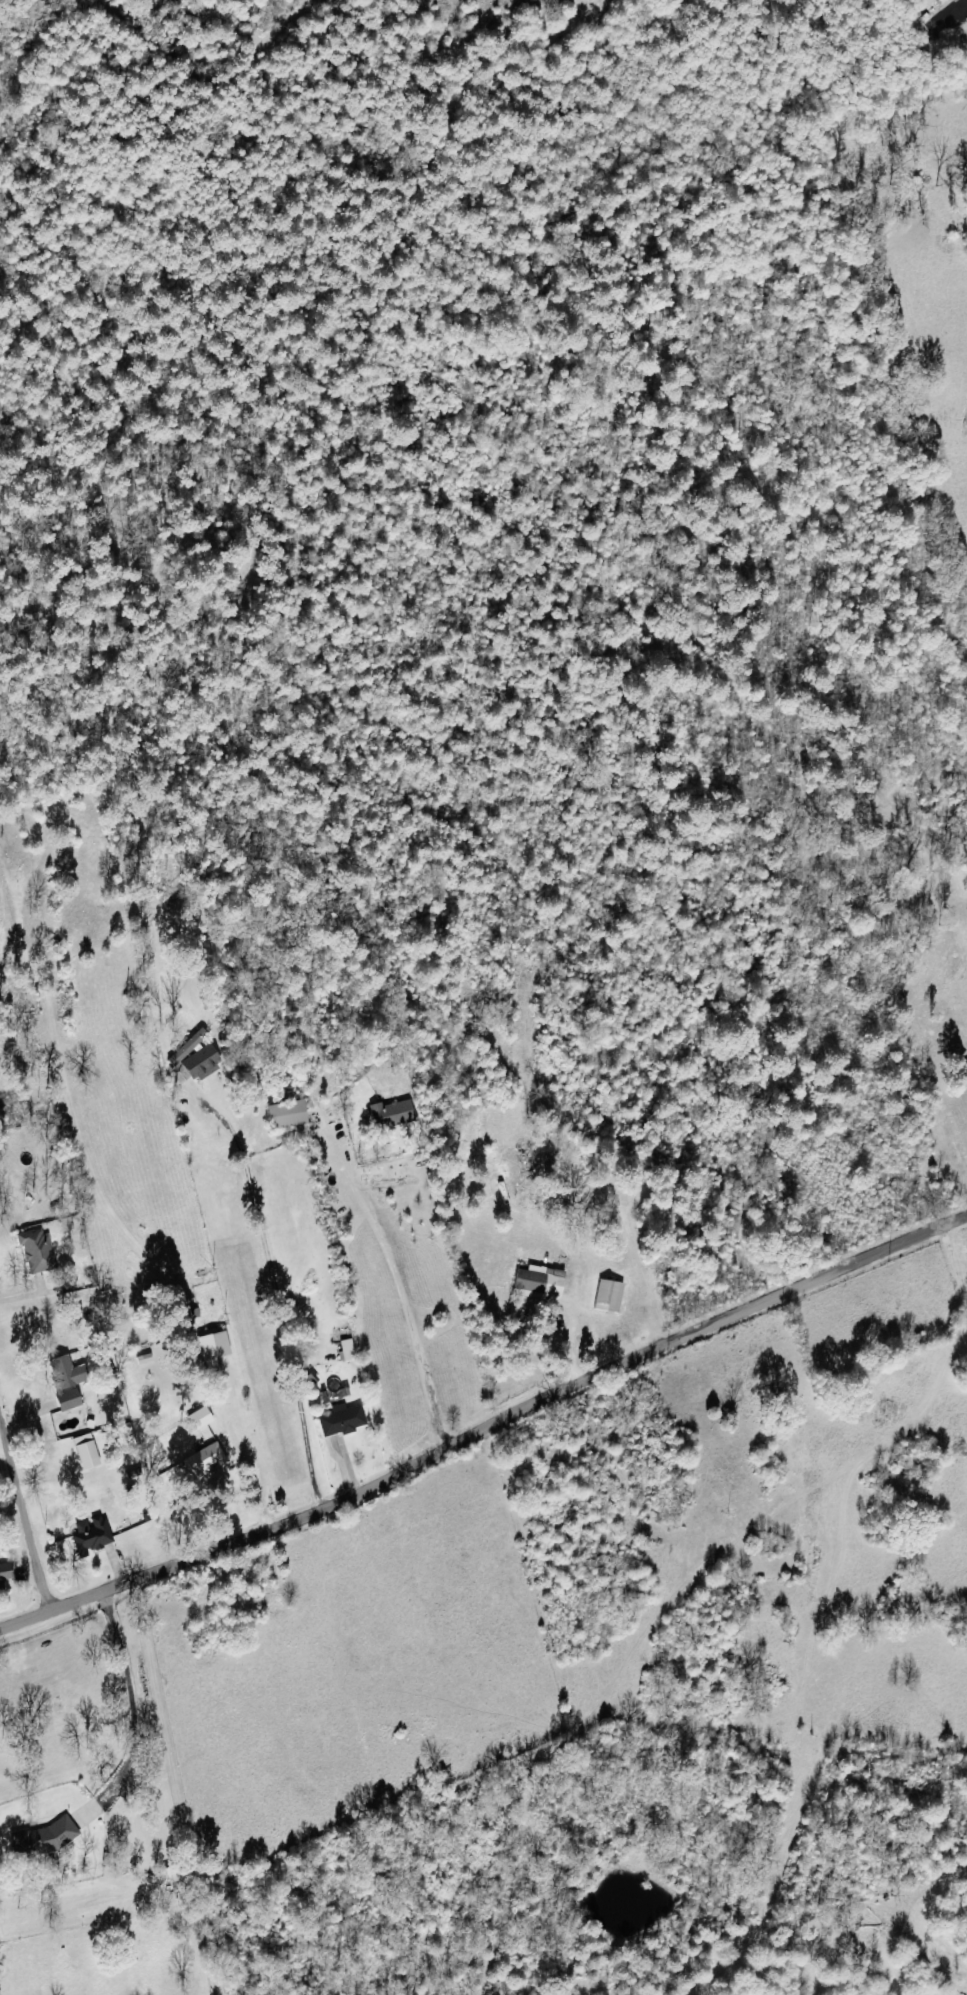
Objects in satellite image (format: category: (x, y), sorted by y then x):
building: (188, 1046)
building: (201, 1062)
building: (287, 1114)
building: (391, 1114)
building: (37, 1250)
building: (541, 1281)
building: (608, 1296)
building: (213, 1345)
building: (346, 1350)
building: (67, 1380)
building: (199, 1418)
building: (342, 1420)
road: (485, 1430)
building: (86, 1450)
building: (204, 1460)
building: (91, 1534)
building: (5, 1572)
building: (44, 1838)

